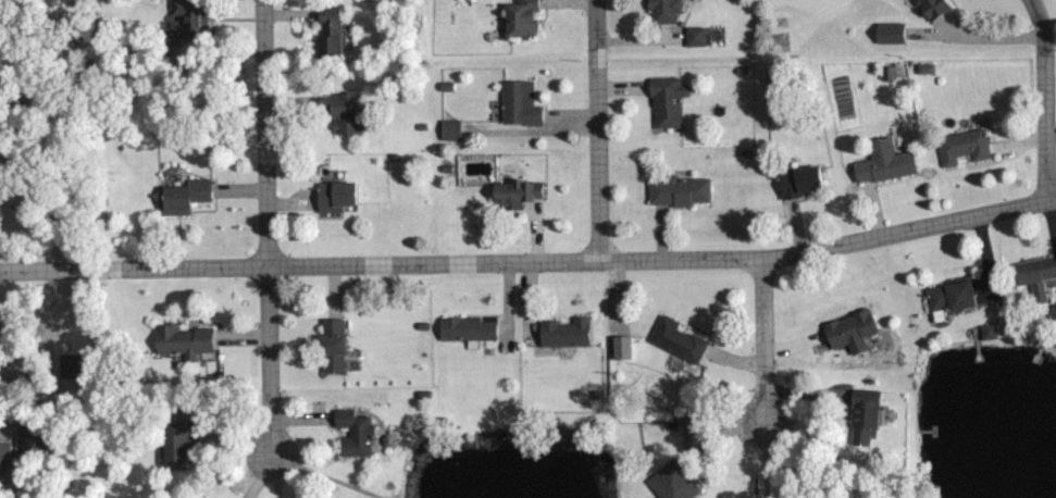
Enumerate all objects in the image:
building: (929, 8)
building: (662, 11)
building: (519, 17)
building: (188, 18)
building: (887, 33)
building: (327, 35)
building: (695, 36)
road: (992, 37)
building: (924, 69)
road: (1045, 99)
building: (666, 101)
building: (519, 104)
building: (340, 112)
building: (449, 130)
road: (597, 130)
building: (962, 147)
building: (881, 163)
building: (798, 182)
building: (676, 191)
building: (513, 194)
building: (183, 196)
building: (333, 197)
road: (266, 226)
road: (531, 262)
building: (1033, 275)
building: (948, 297)
building: (464, 329)
building: (848, 332)
building: (987, 332)
building: (562, 333)
building: (181, 340)
building: (674, 340)
road: (762, 340)
building: (331, 346)
building: (619, 348)
building: (861, 416)
building: (352, 433)
building: (173, 444)
building: (4, 455)
building: (671, 484)

